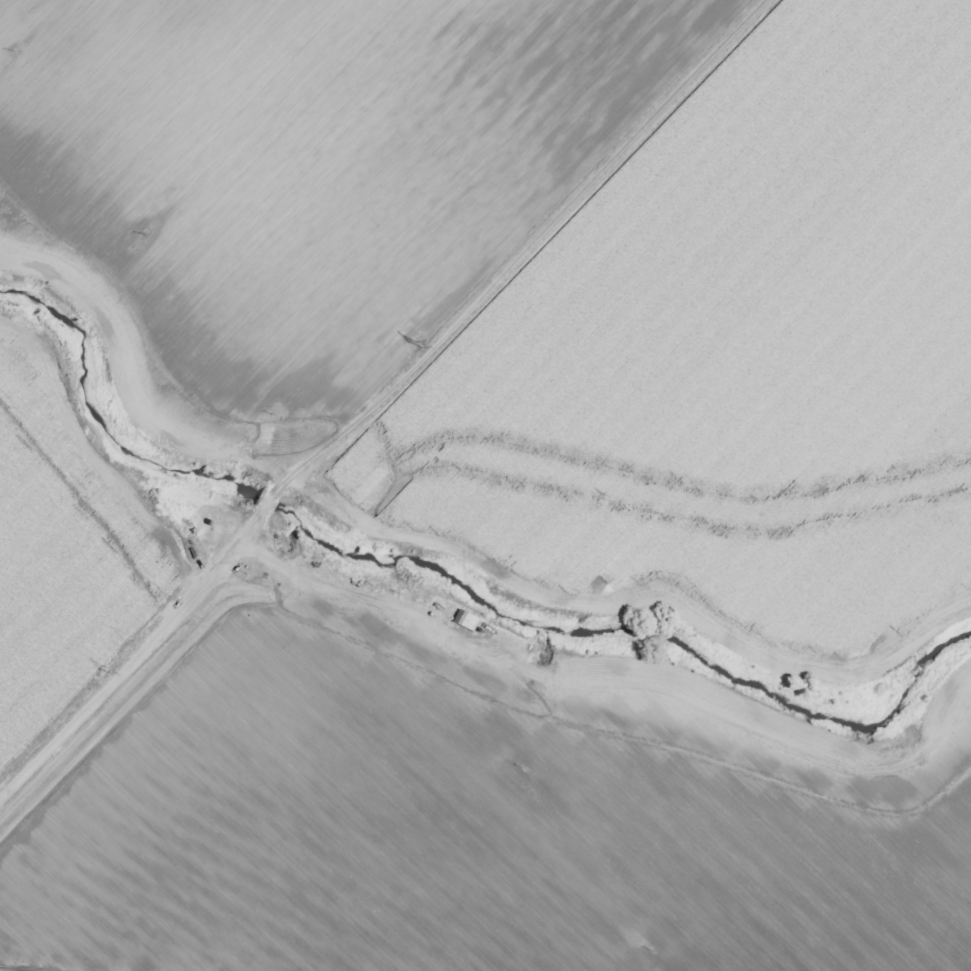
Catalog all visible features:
power tower: (440, 367)
power tower: (124, 687)

